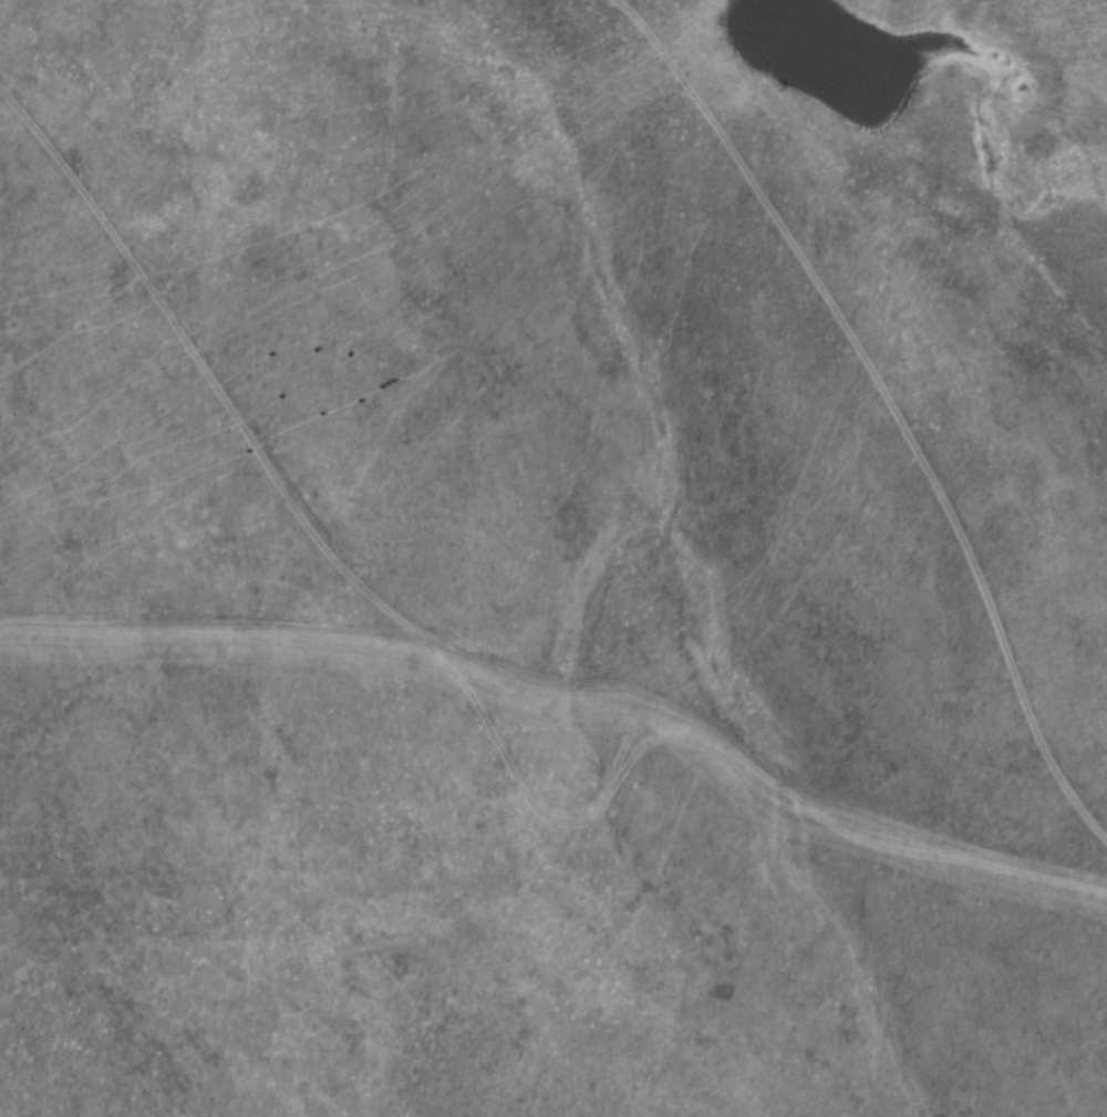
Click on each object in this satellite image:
road: (168, 634)
road: (395, 715)

